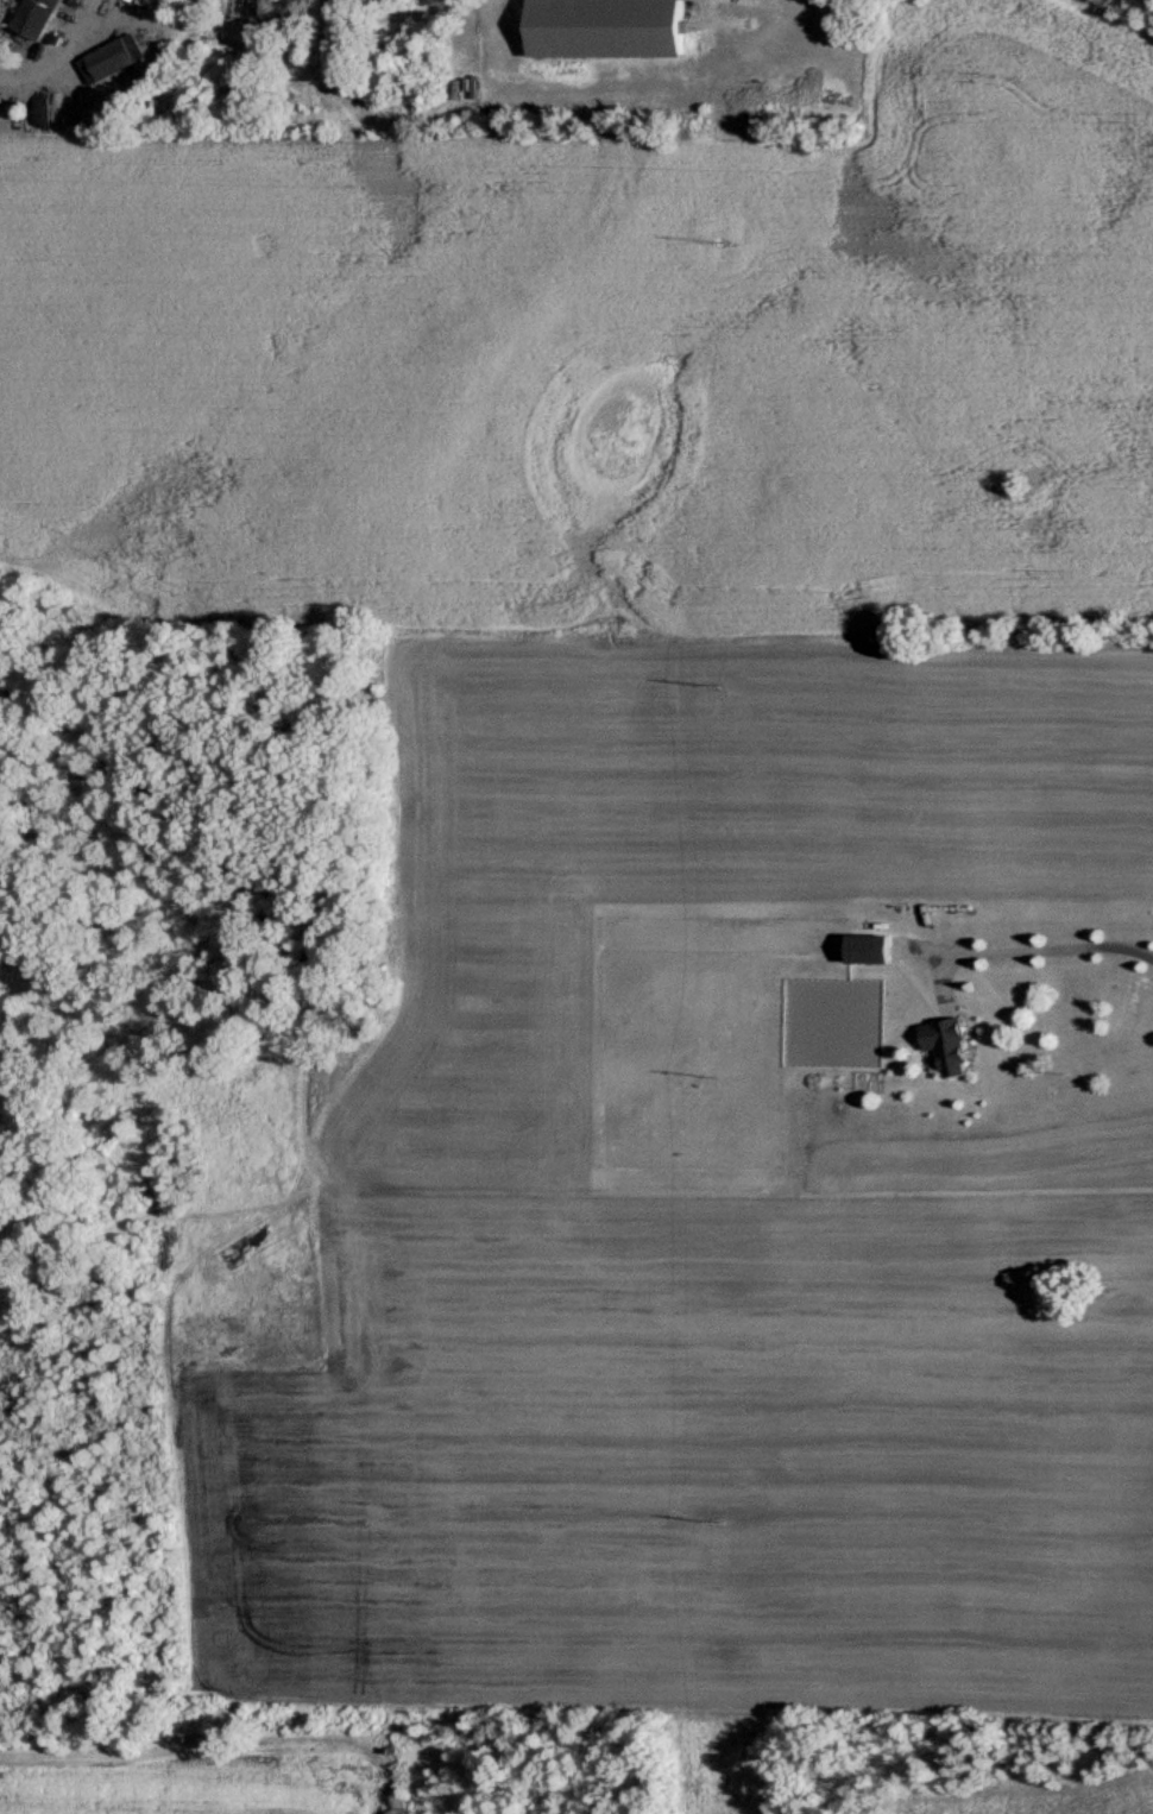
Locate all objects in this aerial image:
building: (37, 18)
building: (604, 27)
road: (58, 51)
building: (111, 58)
building: (868, 949)
road: (1047, 952)
building: (947, 1046)

